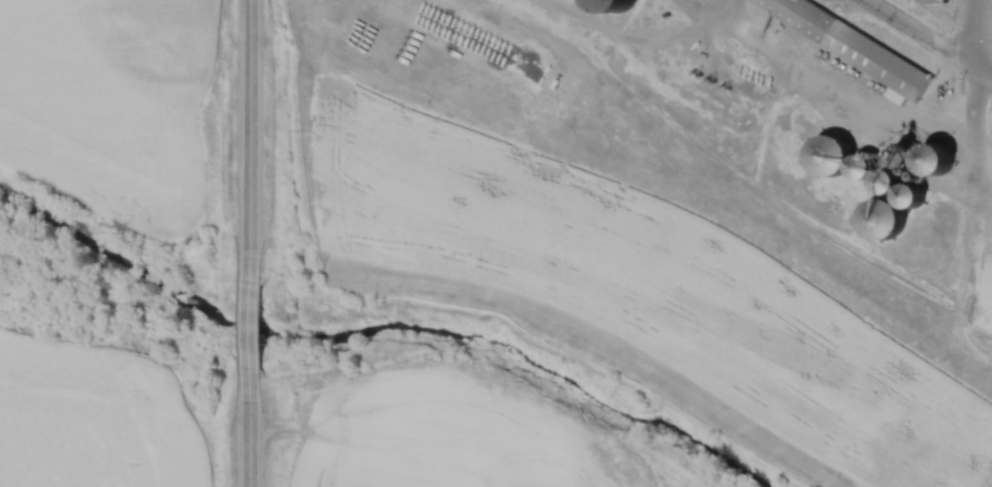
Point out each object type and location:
building: (931, 1)
building: (607, 6)
road: (974, 33)
road: (928, 38)
building: (841, 43)
road: (248, 118)
building: (821, 156)
building: (924, 160)
building: (905, 200)
building: (874, 219)
road: (248, 307)
river: (379, 334)
crop: (92, 420)
road: (248, 432)

